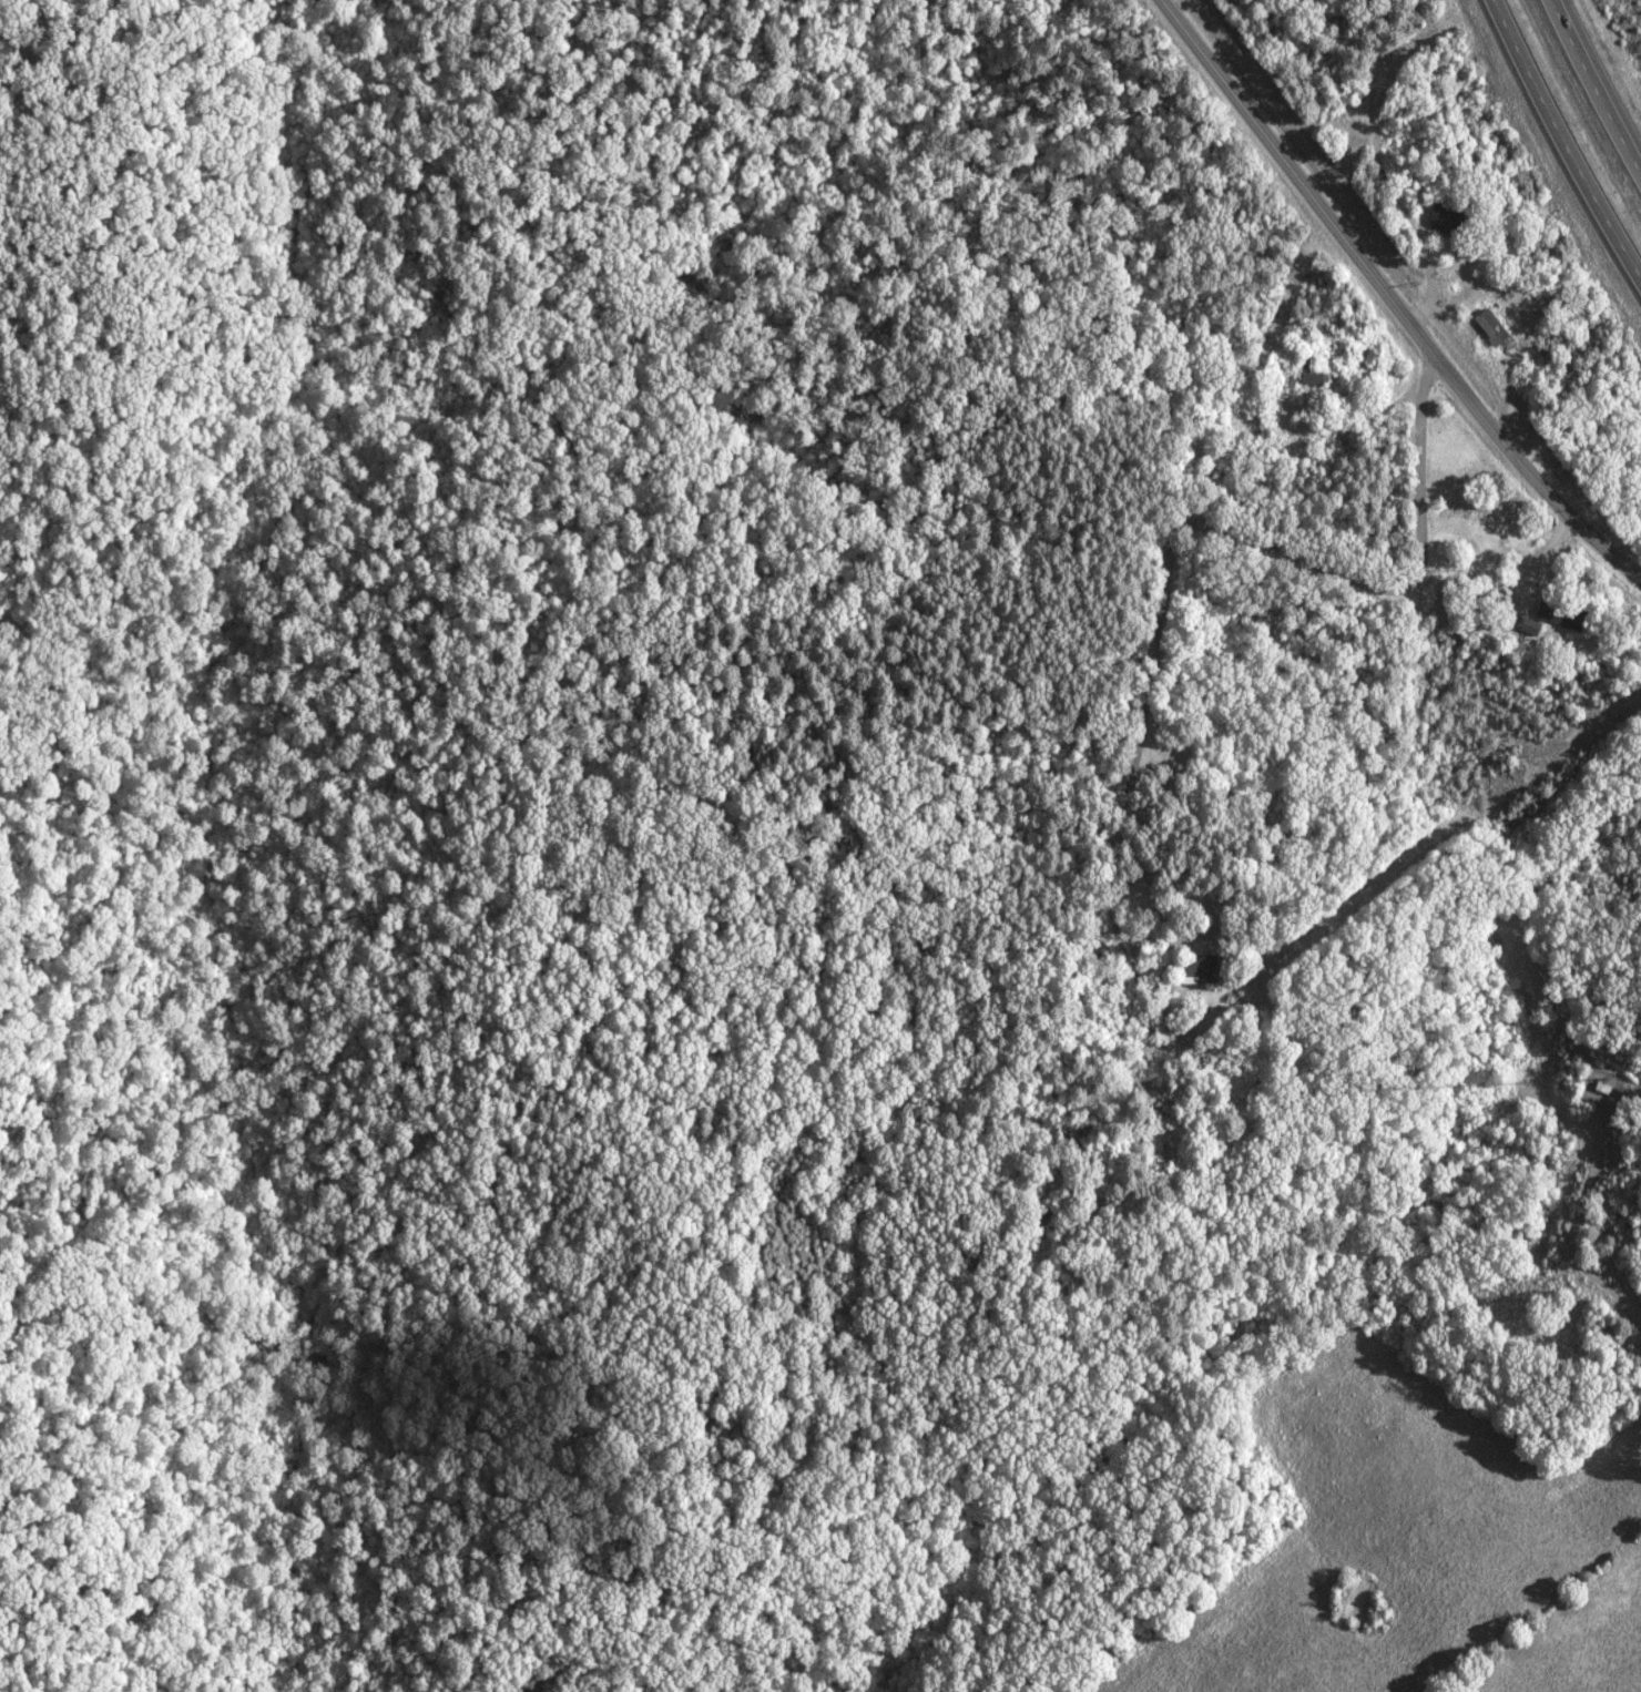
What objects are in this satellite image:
road: (1594, 91)
road: (1561, 145)
road: (1390, 298)
building: (1485, 326)
building: (1309, 370)
road: (1255, 540)
building: (1529, 624)

